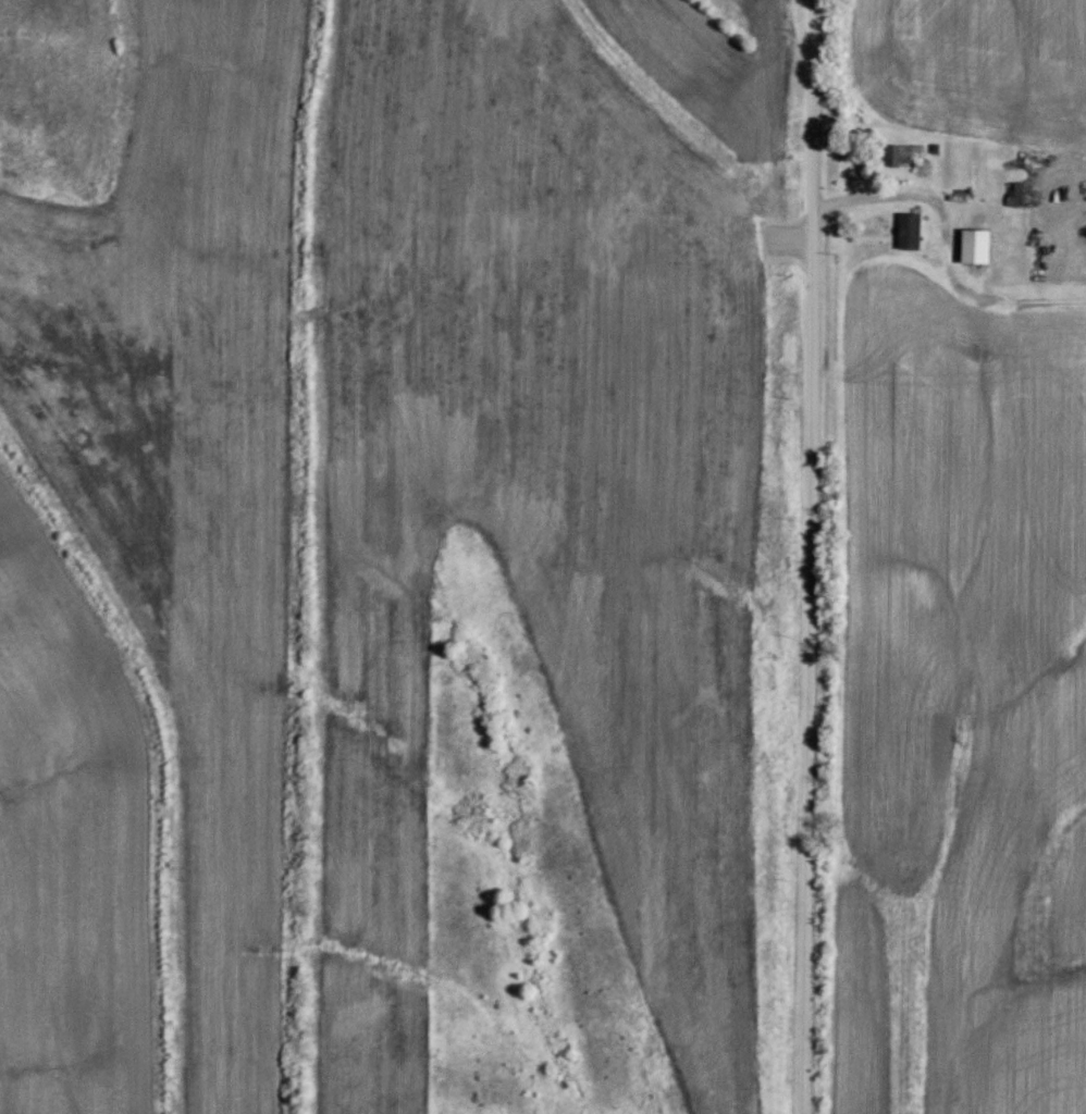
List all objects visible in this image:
building: (910, 230)
building: (976, 244)
road: (809, 557)

